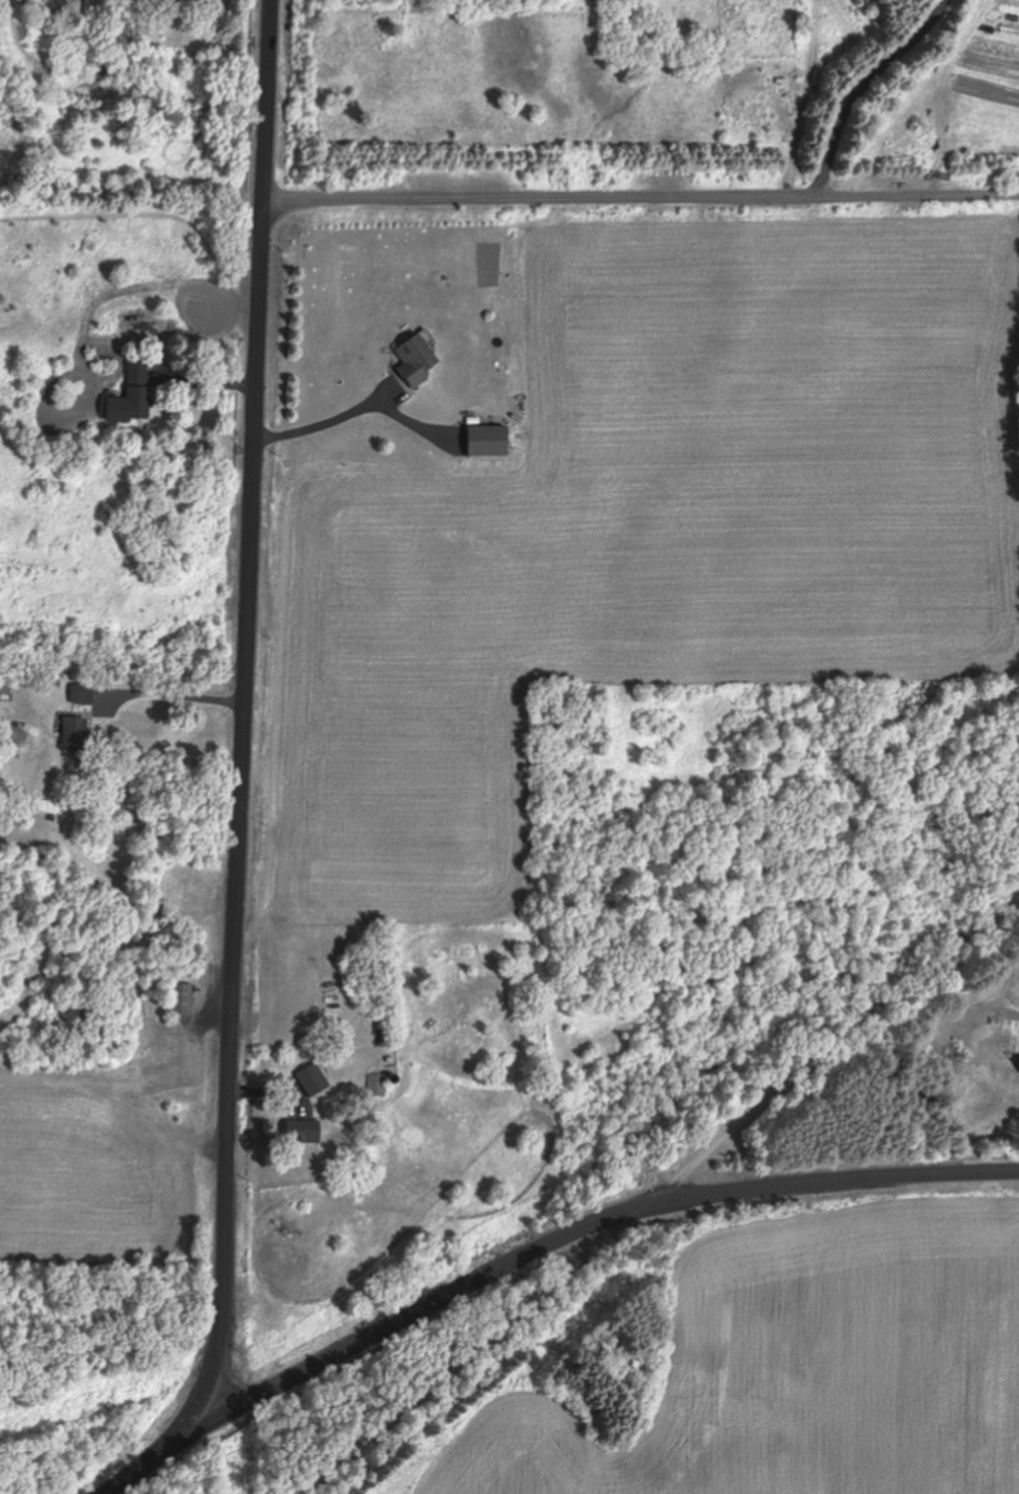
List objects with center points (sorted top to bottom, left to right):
road: (642, 191)
building: (410, 360)
building: (127, 397)
building: (483, 441)
crop: (641, 535)
building: (79, 694)
road: (245, 705)
building: (70, 736)
building: (178, 999)
building: (1018, 1073)
building: (308, 1080)
building: (374, 1086)
building: (295, 1132)
crop: (109, 1167)
road: (658, 1199)
road: (535, 1251)

